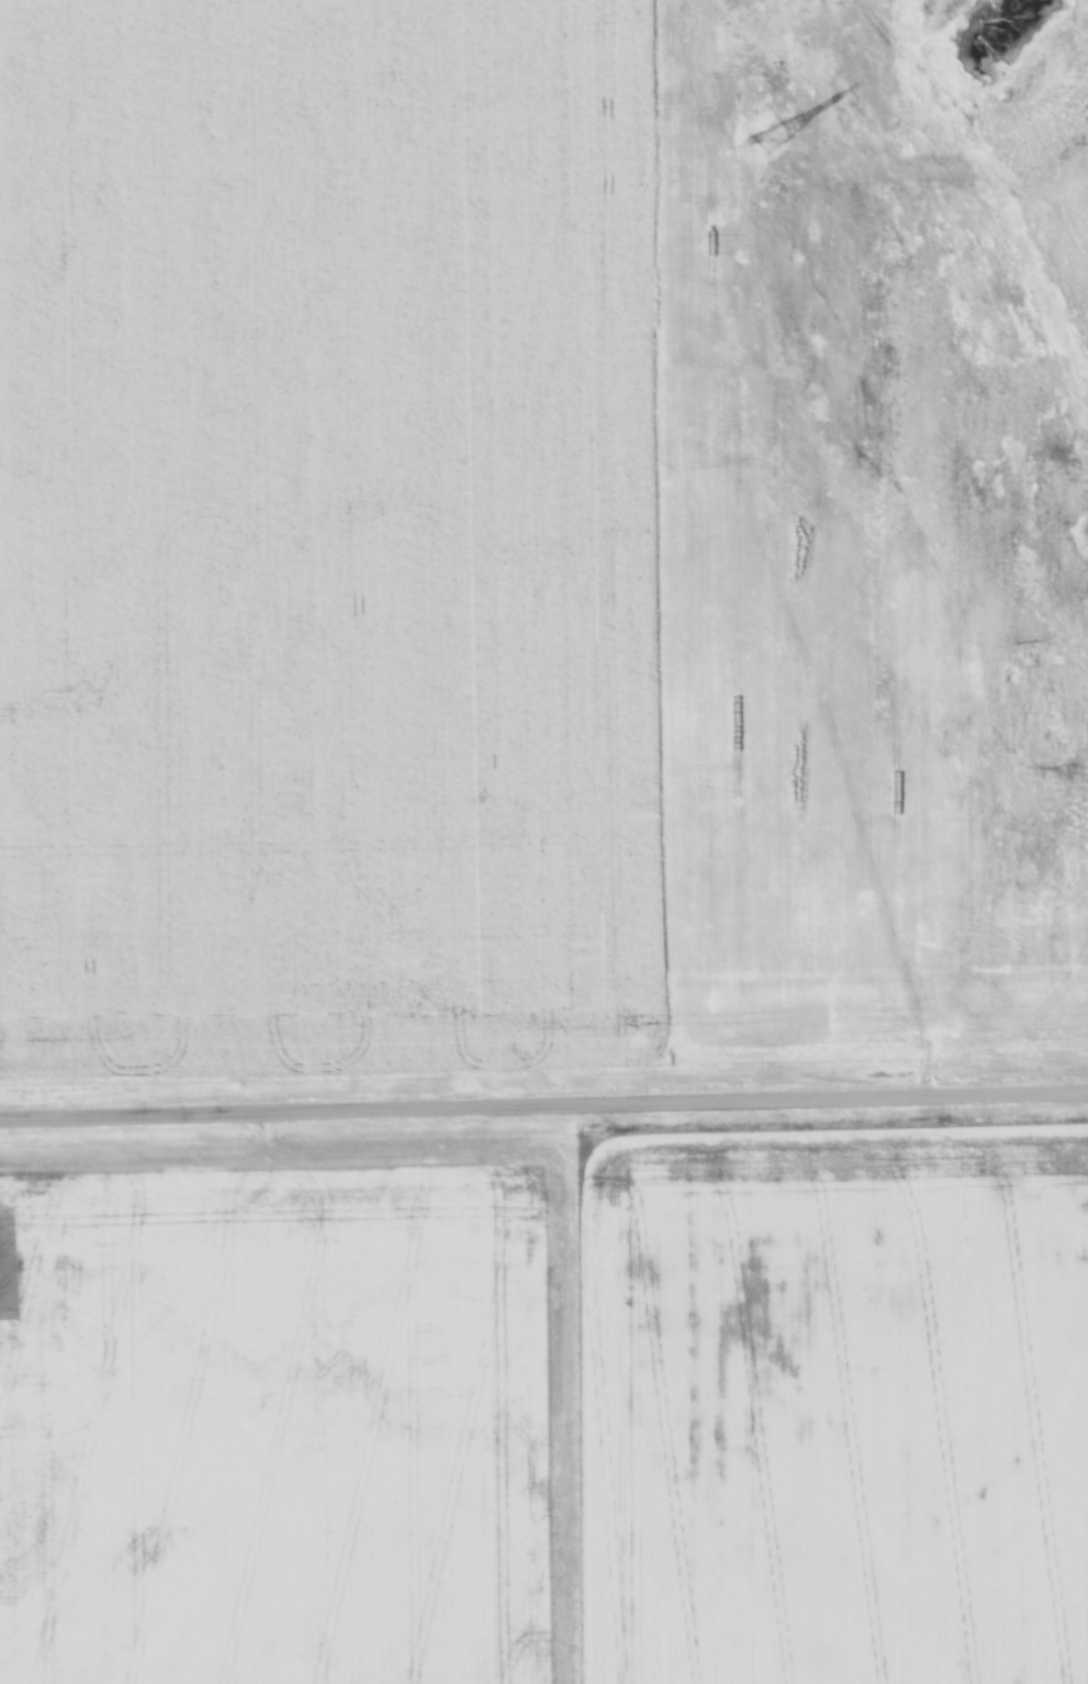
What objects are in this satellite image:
power tower: (766, 138)
road: (543, 1108)

